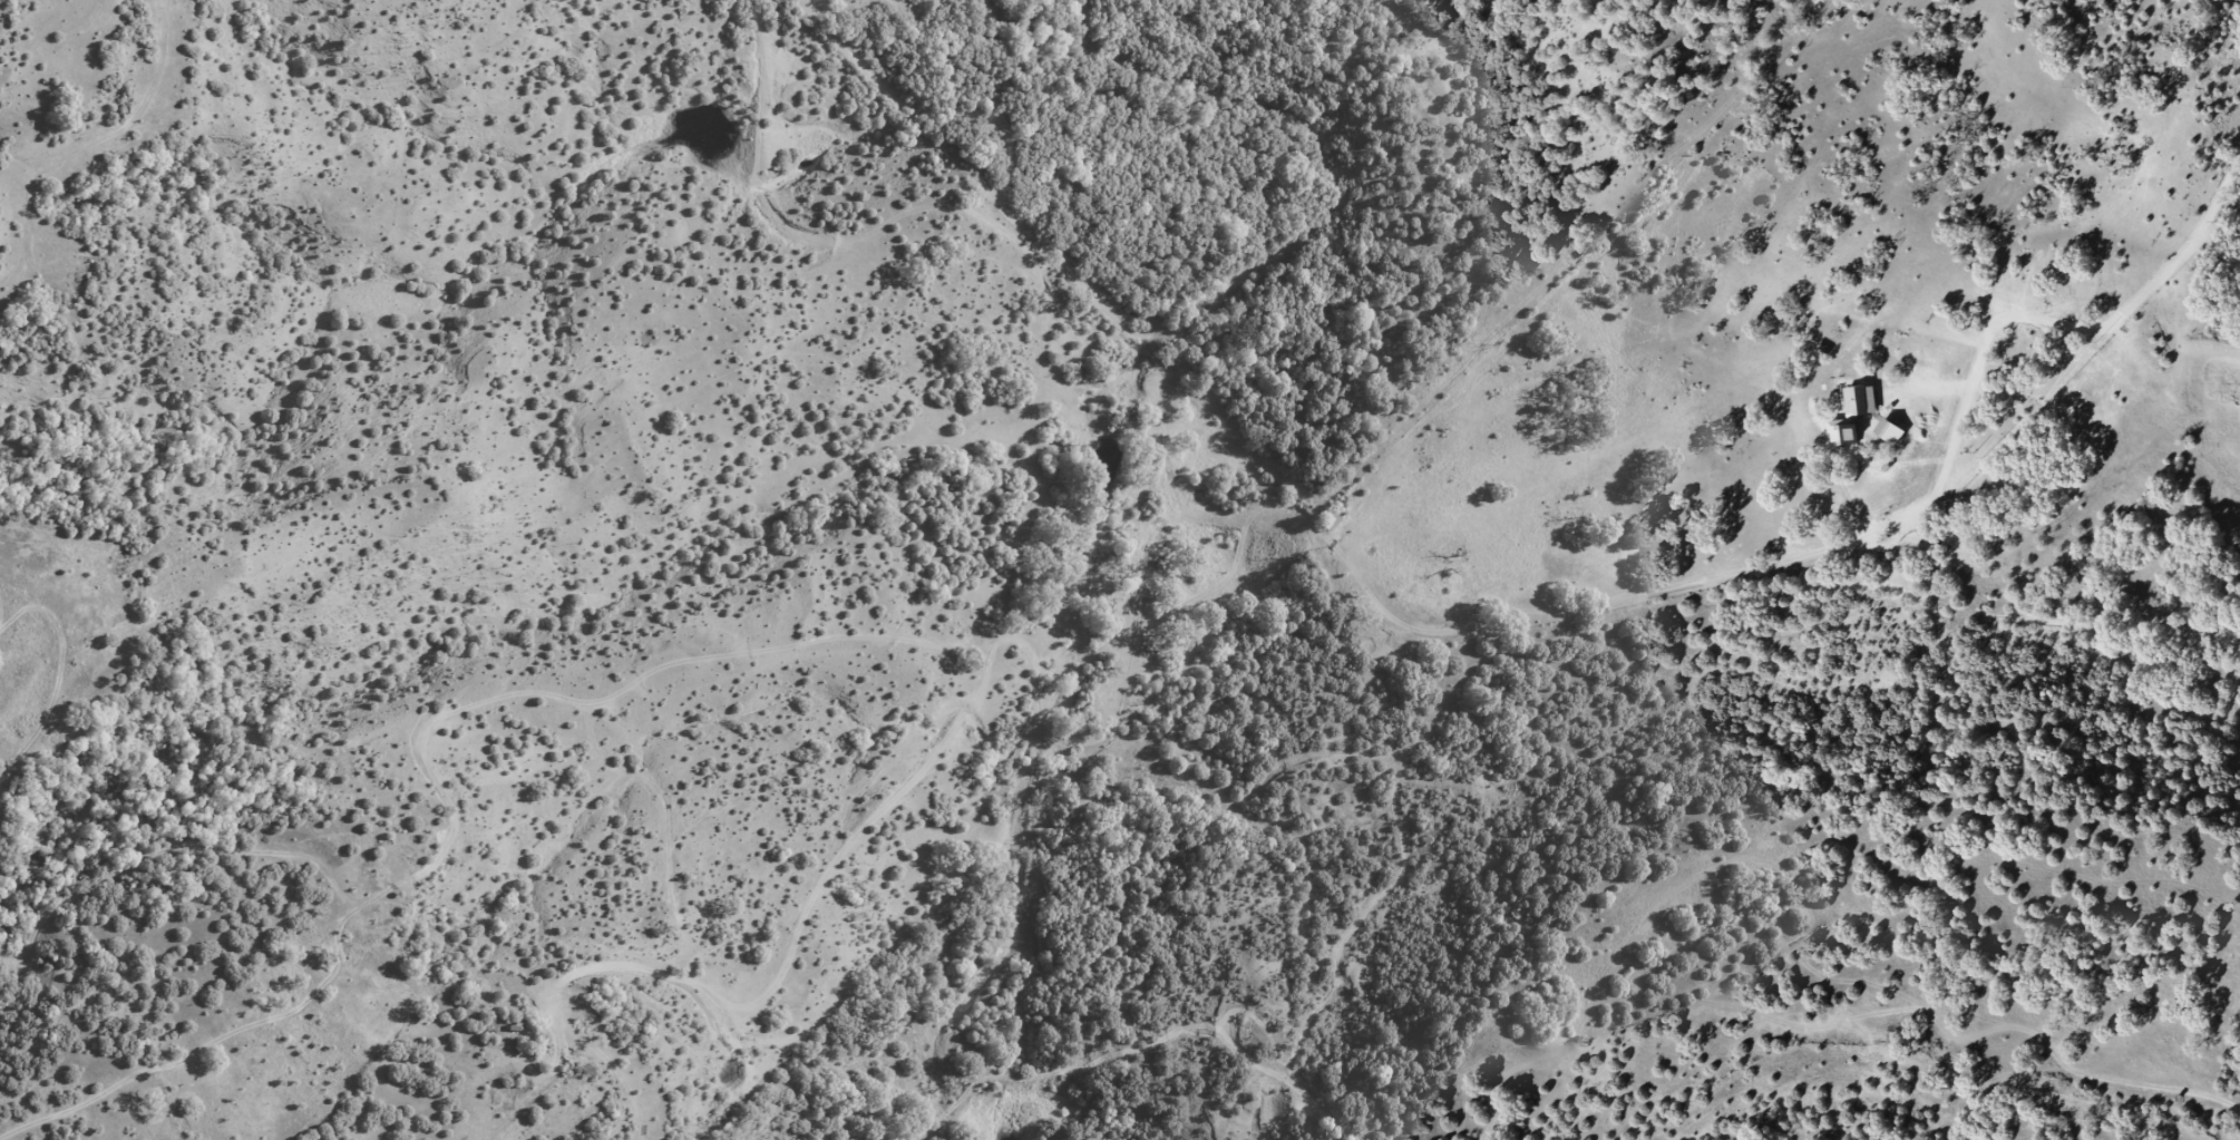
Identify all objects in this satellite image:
building: (1867, 401)
building: (1886, 429)

